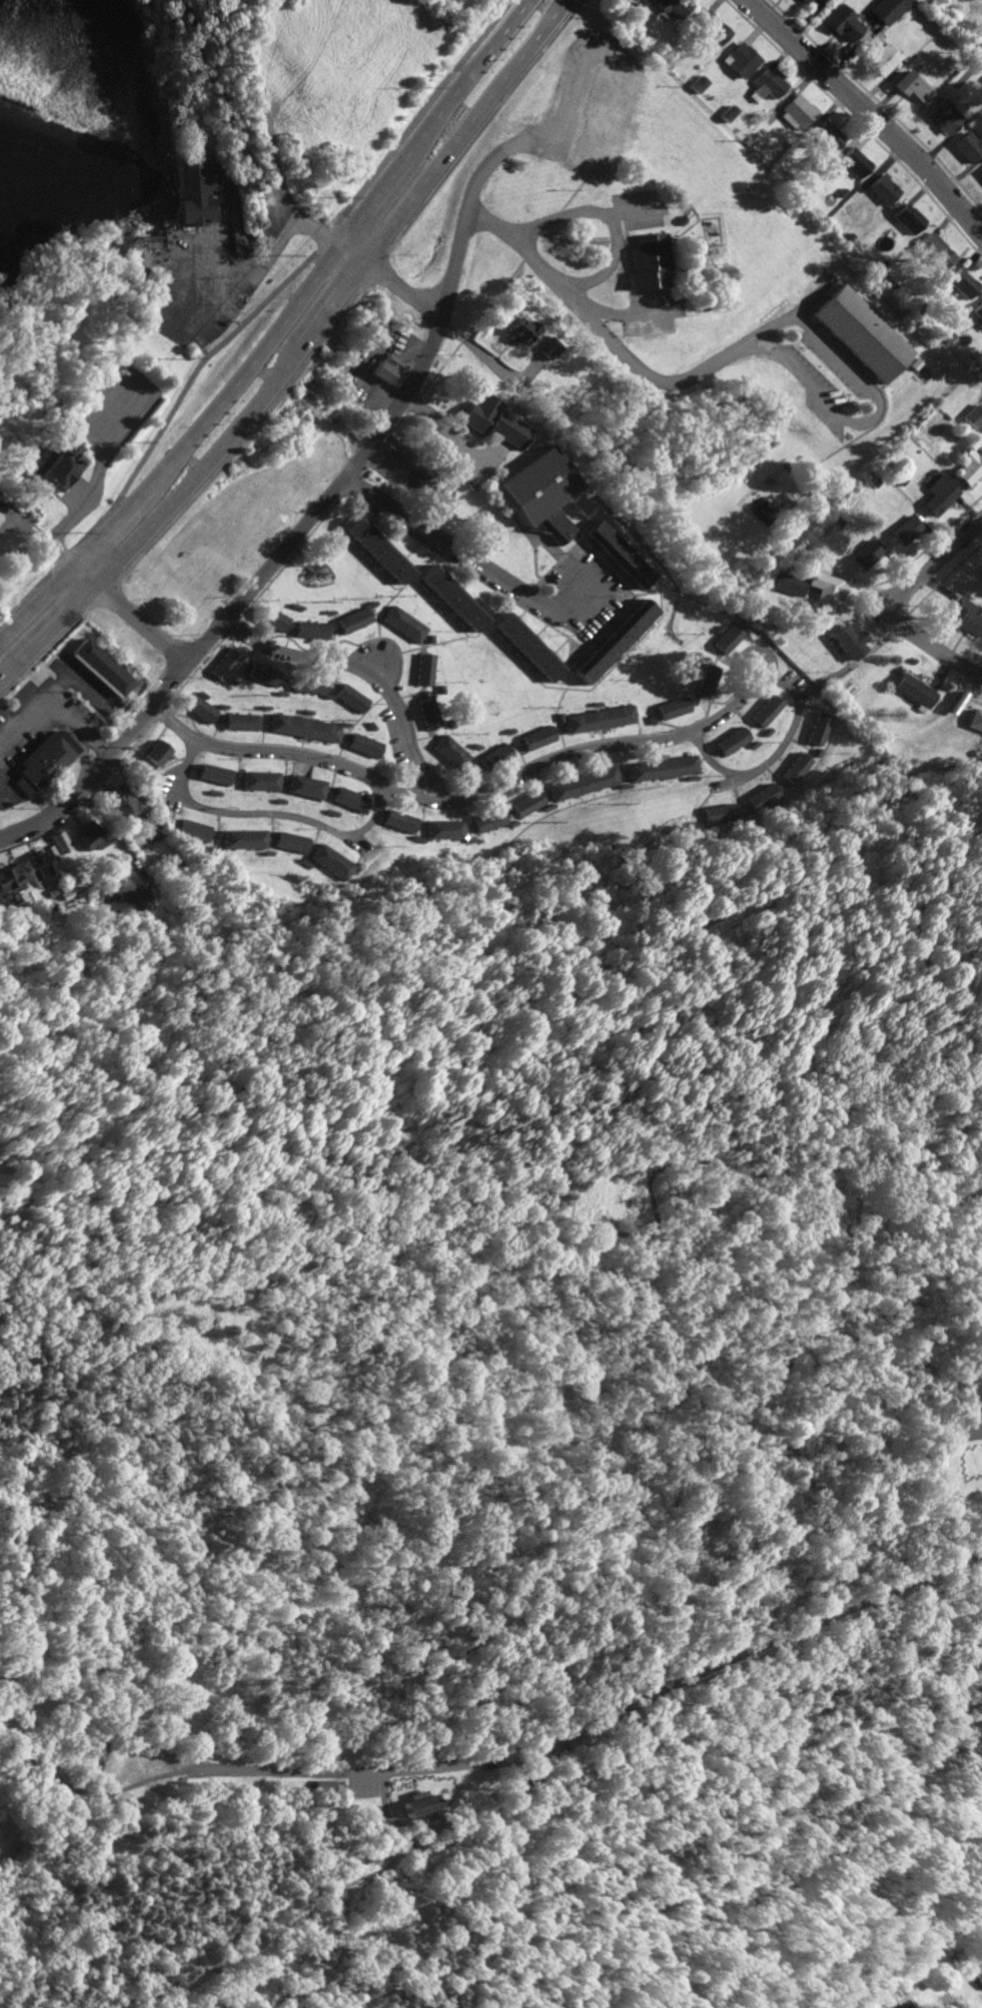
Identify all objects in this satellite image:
building: (673, 6)
building: (886, 9)
road: (782, 13)
building: (842, 23)
building: (711, 26)
building: (882, 58)
building: (738, 59)
building: (696, 84)
building: (765, 84)
building: (910, 86)
building: (796, 110)
building: (725, 113)
road: (868, 114)
building: (942, 116)
building: (604, 118)
building: (826, 135)
building: (968, 146)
road: (276, 154)
building: (853, 162)
building: (980, 173)
building: (882, 189)
building: (197, 190)
road: (607, 216)
building: (908, 218)
building: (678, 220)
building: (143, 242)
building: (934, 250)
road: (269, 255)
building: (647, 262)
road: (370, 265)
building: (962, 283)
building: (676, 297)
building: (978, 310)
road: (255, 311)
road: (164, 319)
road: (277, 330)
building: (521, 330)
building: (861, 332)
road: (740, 344)
building: (550, 348)
road: (297, 350)
road: (305, 360)
building: (386, 367)
parking lot: (113, 408)
building: (972, 416)
building: (492, 420)
building: (981, 427)
building: (53, 465)
building: (968, 465)
building: (535, 485)
building: (937, 494)
road: (86, 502)
road: (298, 529)
building: (904, 530)
road: (38, 538)
road: (438, 540)
building: (375, 550)
building: (616, 554)
building: (865, 554)
building: (981, 572)
building: (788, 584)
building: (826, 588)
parking lot: (577, 593)
building: (450, 597)
road: (893, 602)
road: (130, 612)
building: (969, 619)
building: (271, 620)
building: (351, 620)
building: (401, 624)
building: (309, 630)
building: (728, 638)
building: (613, 641)
building: (849, 642)
building: (525, 646)
building: (223, 664)
building: (100, 667)
building: (422, 669)
road: (365, 672)
building: (261, 674)
building: (707, 683)
building: (308, 685)
building: (913, 690)
building: (349, 698)
road: (55, 705)
building: (198, 708)
building: (672, 708)
building: (765, 711)
building: (426, 713)
building: (598, 719)
building: (973, 720)
building: (240, 721)
road: (171, 723)
building: (303, 727)
building: (817, 728)
building: (537, 738)
building: (731, 740)
building: (362, 745)
building: (449, 751)
building: (156, 752)
road: (773, 754)
building: (494, 756)
building: (42, 762)
building: (660, 768)
building: (794, 768)
building: (213, 774)
building: (259, 780)
building: (582, 783)
road: (419, 784)
building: (304, 786)
road: (486, 792)
building: (760, 797)
building: (347, 799)
building: (526, 803)
building: (123, 806)
building: (716, 813)
road: (272, 814)
building: (487, 820)
building: (398, 821)
building: (443, 829)
building: (191, 830)
building: (89, 837)
building: (241, 839)
building: (59, 841)
building: (288, 842)
building: (329, 861)
building: (37, 869)
building: (9, 880)
building: (129, 902)
road: (638, 1233)
road: (264, 1373)
road: (744, 1413)
road: (980, 1415)
park: (502, 1423)
parking lot: (972, 1423)
road: (675, 1495)
road: (579, 1524)
road: (237, 1564)
road: (686, 1682)
road: (9, 1683)
road: (94, 1716)
road: (169, 1771)
road: (364, 1774)
building: (536, 1777)
building: (419, 1803)
road: (301, 1914)
building: (981, 1975)
building: (913, 2005)

